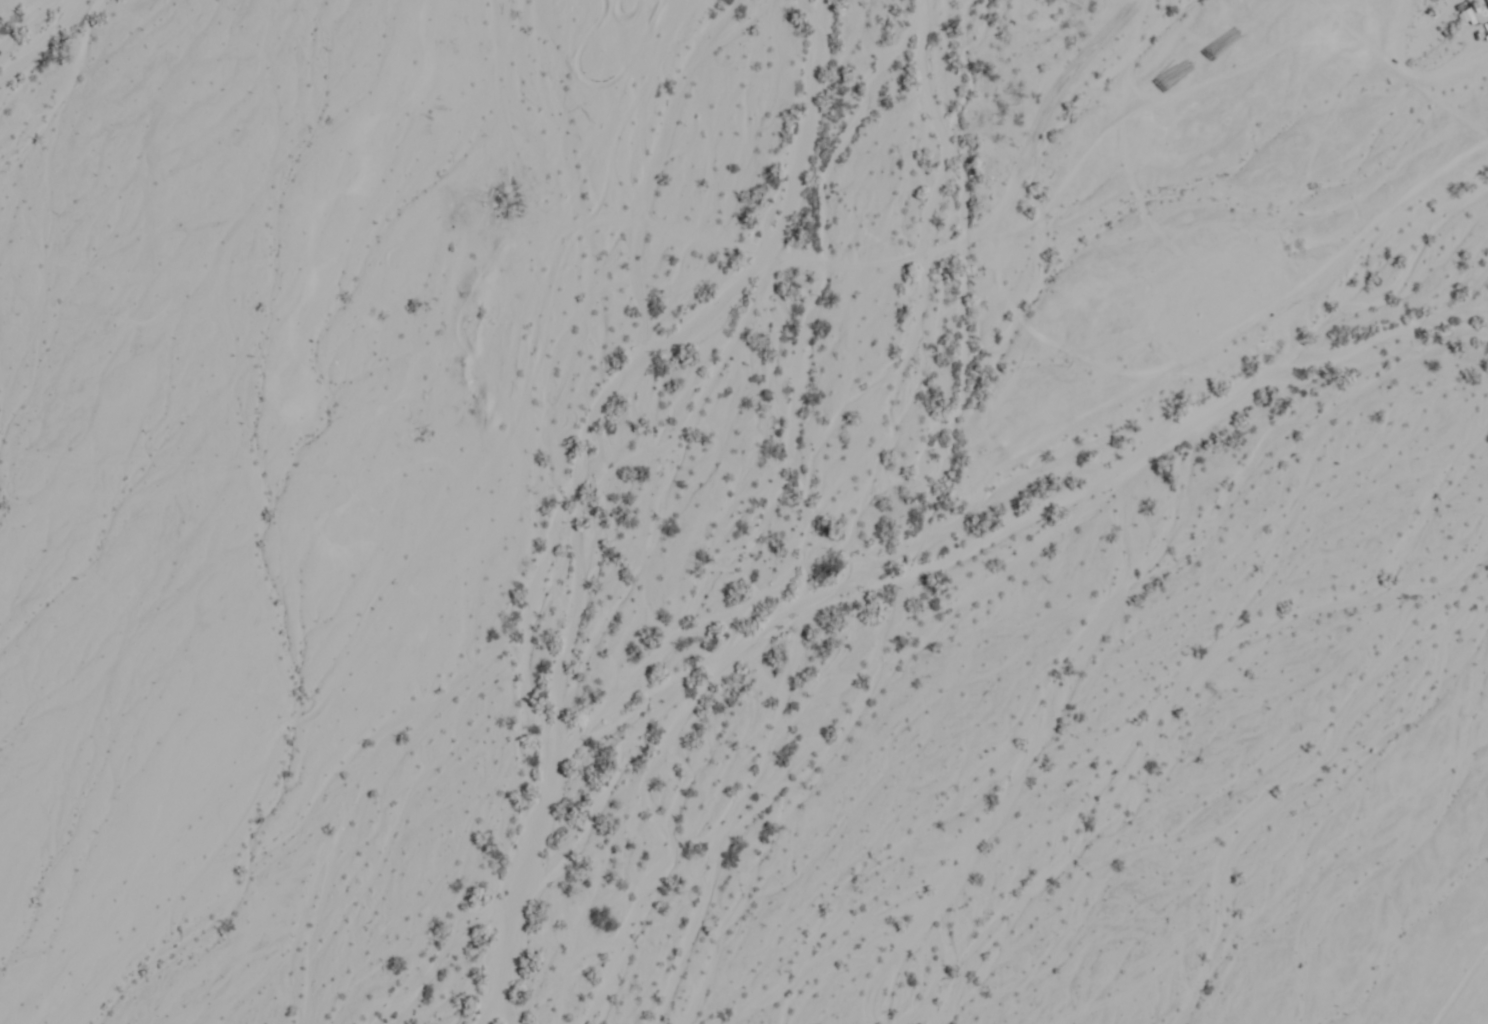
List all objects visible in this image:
road: (1130, 37)

